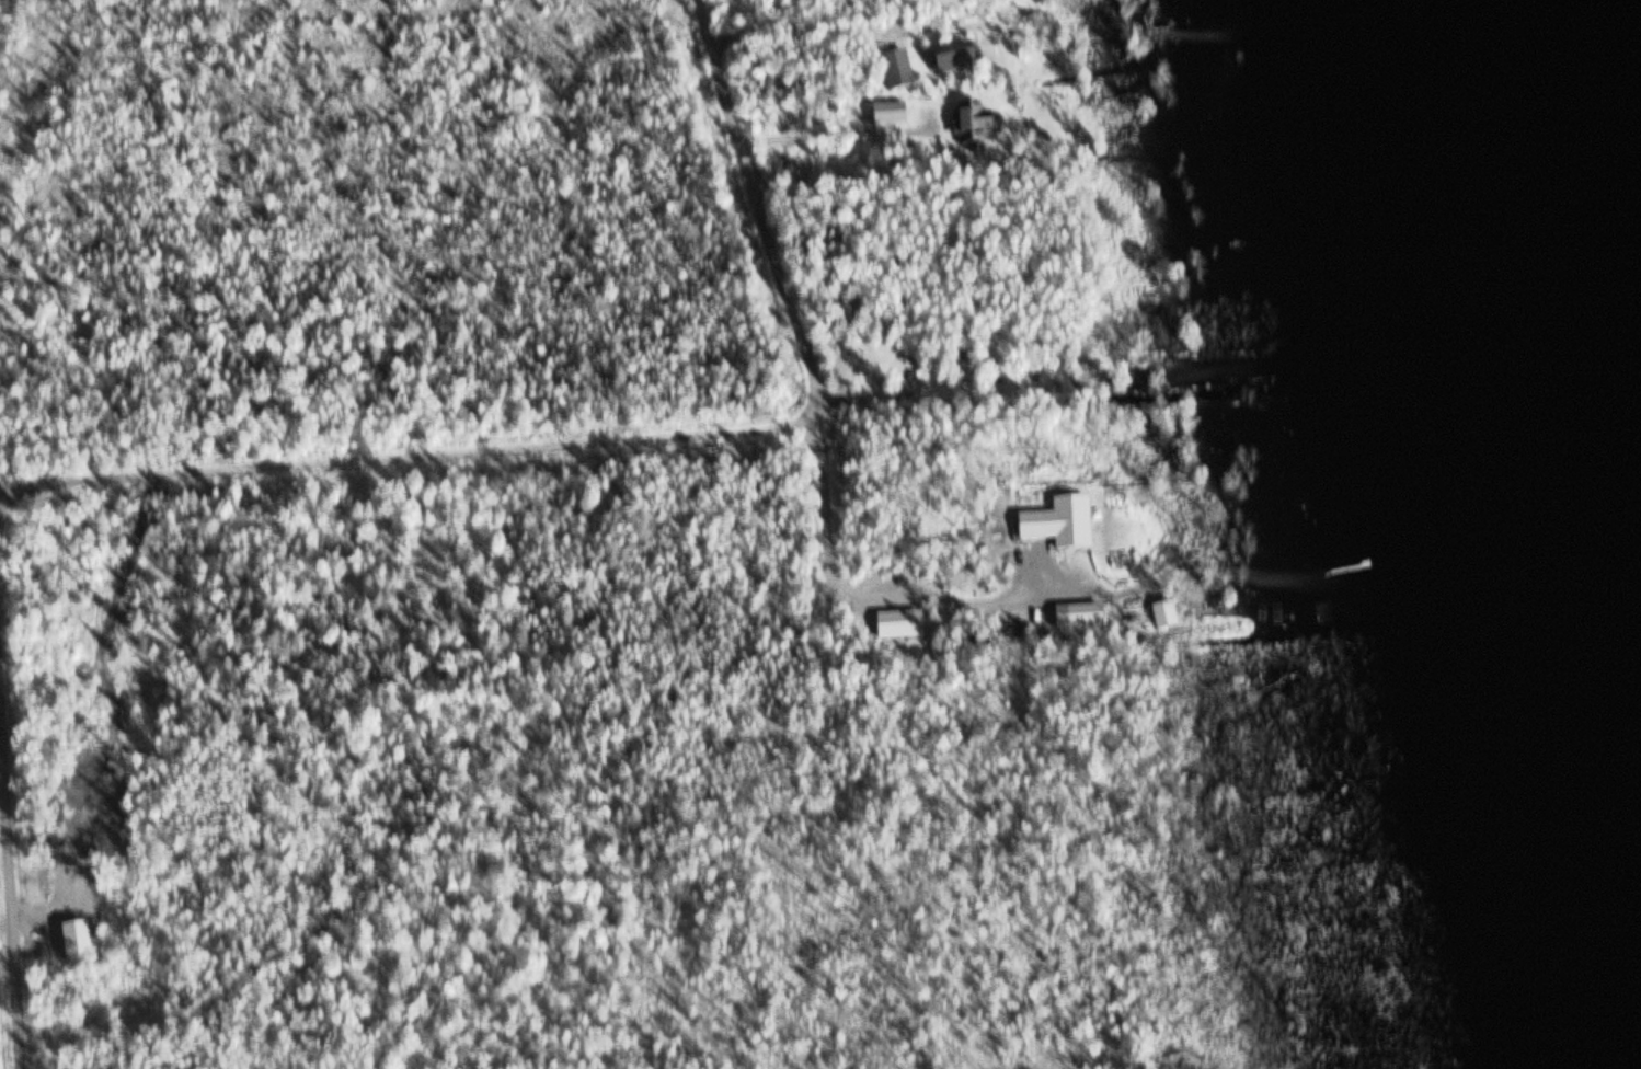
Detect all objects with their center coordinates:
building: (957, 62)
building: (891, 116)
road: (735, 205)
road: (380, 433)
building: (1166, 617)
building: (1081, 618)
building: (903, 627)
road: (7, 871)

